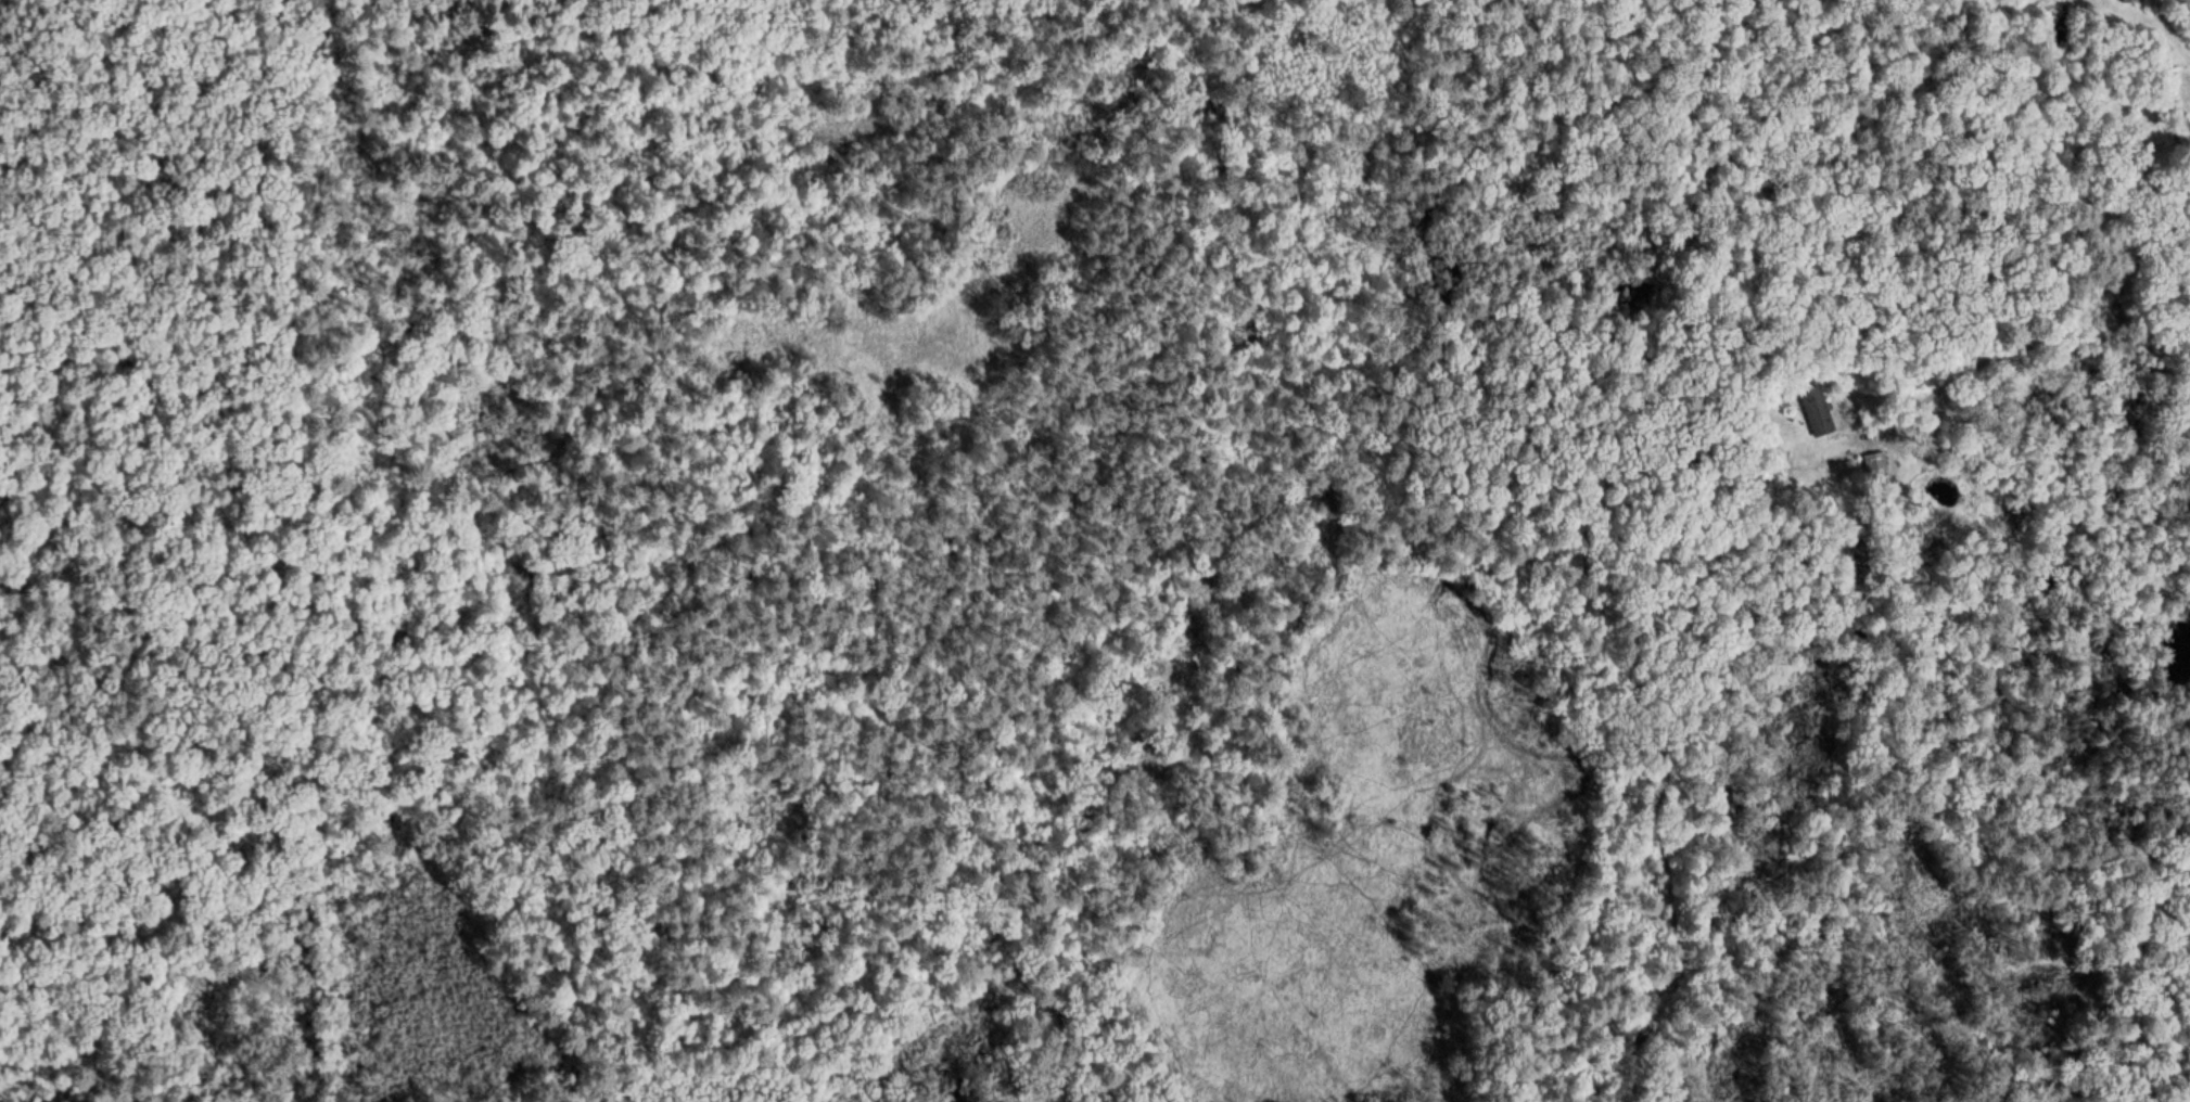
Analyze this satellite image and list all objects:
road: (2112, 359)

